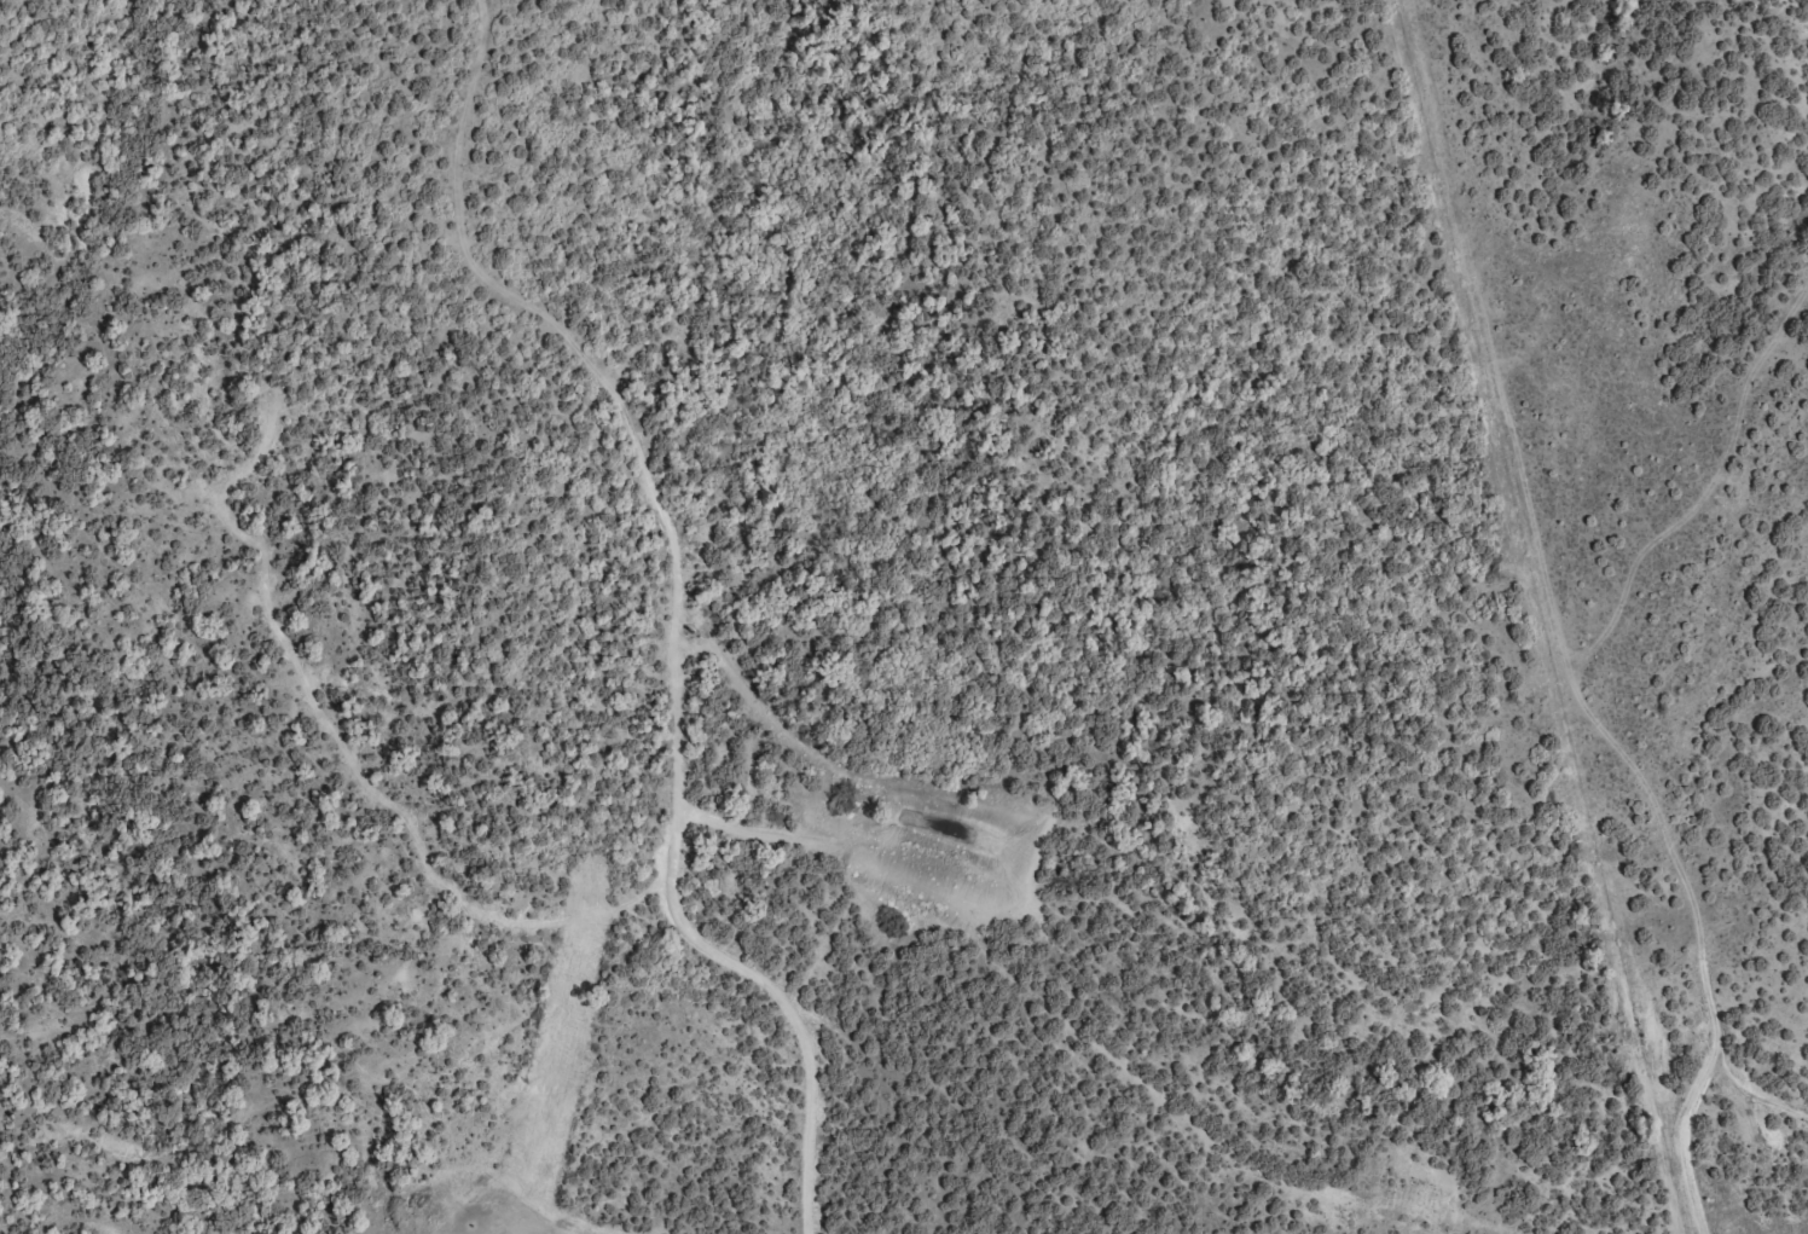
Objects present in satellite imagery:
road: (1546, 614)

